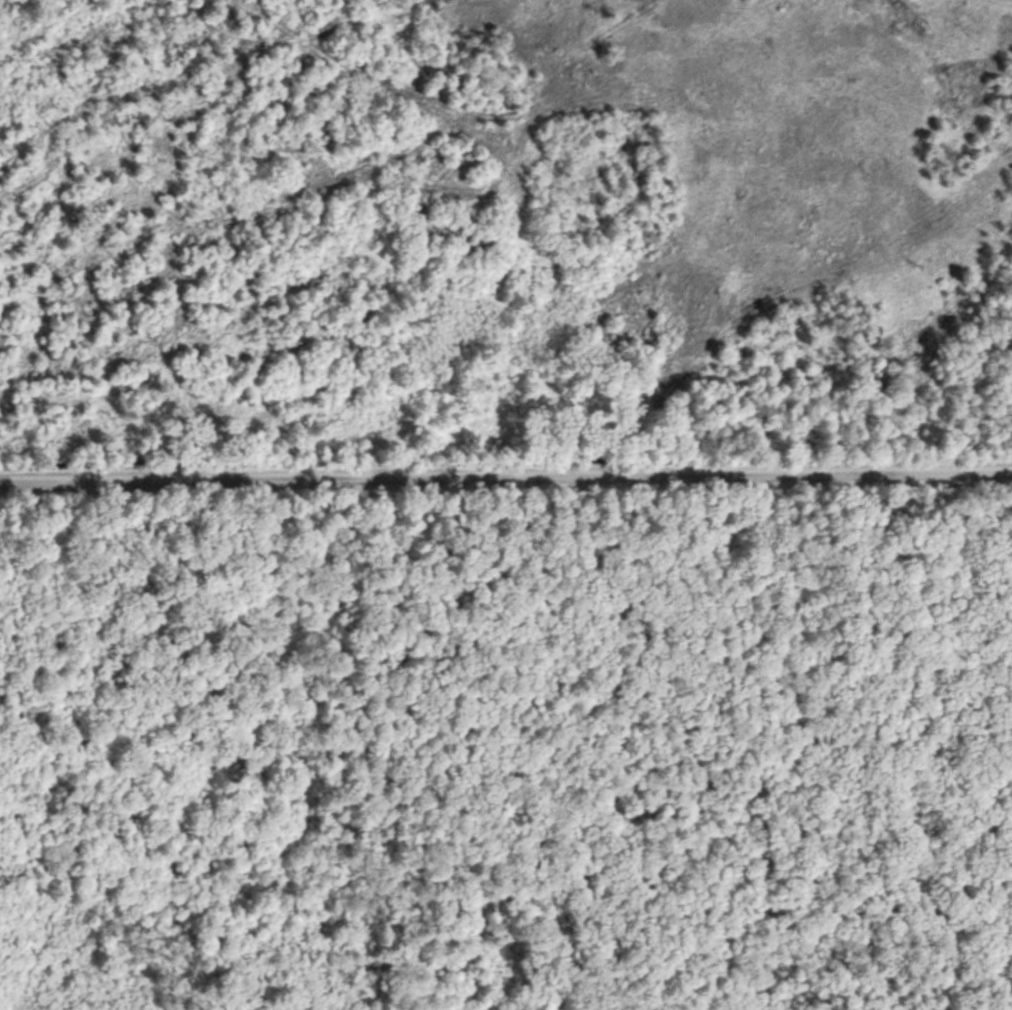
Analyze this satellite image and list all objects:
road: (505, 470)

